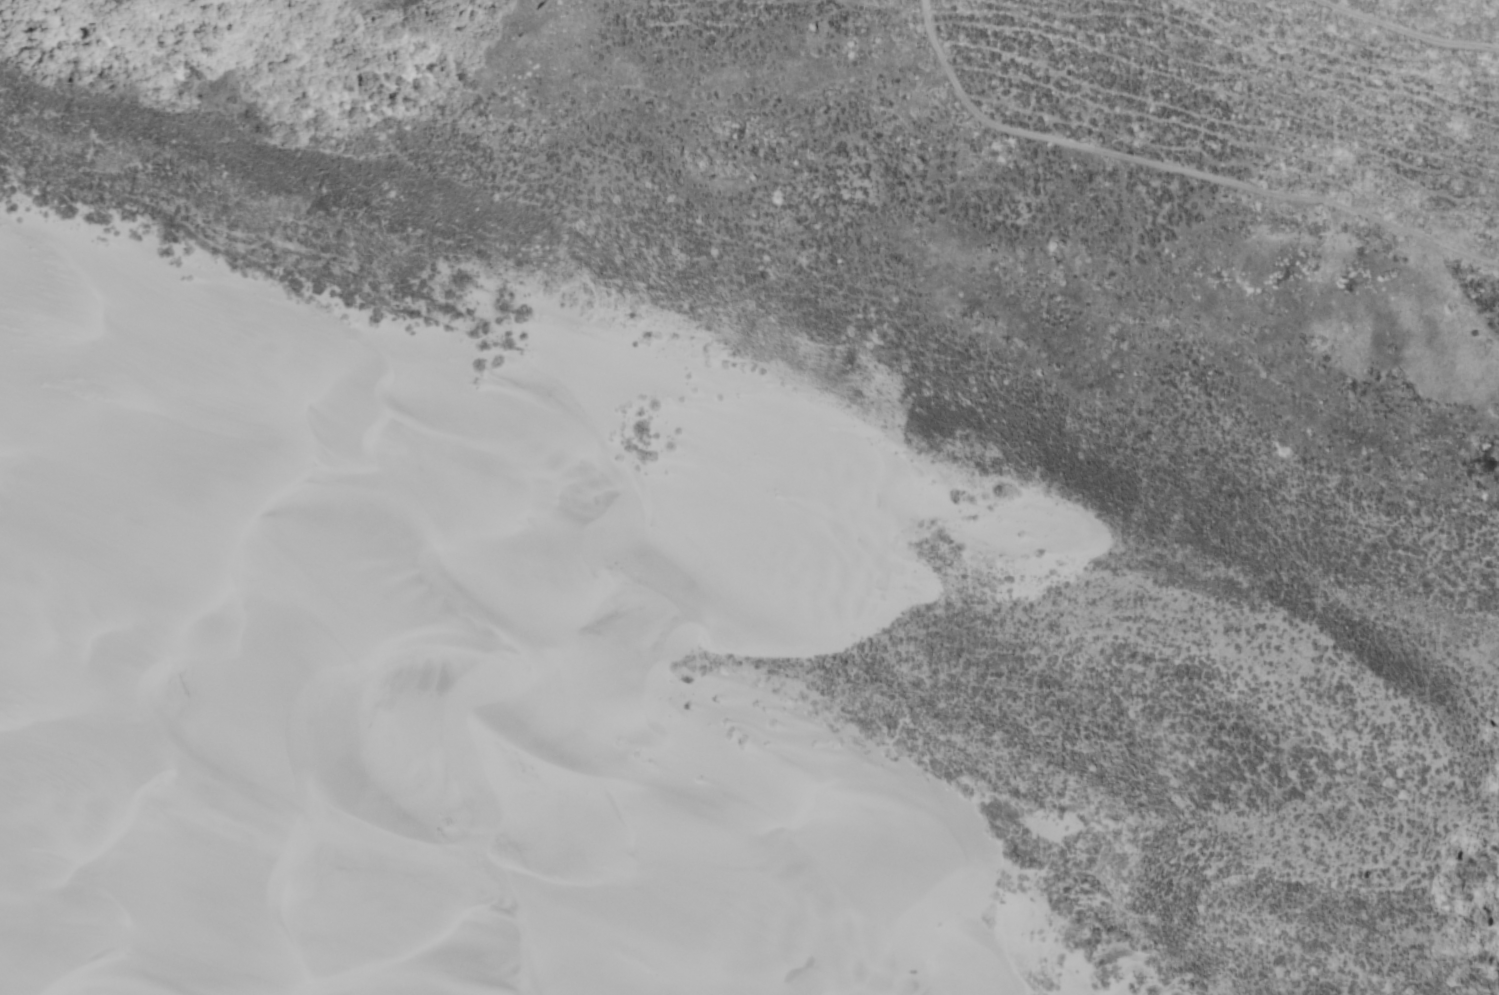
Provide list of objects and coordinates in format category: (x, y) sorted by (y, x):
road: (552, 16)
road: (1406, 32)
road: (1177, 169)
park: (518, 921)

